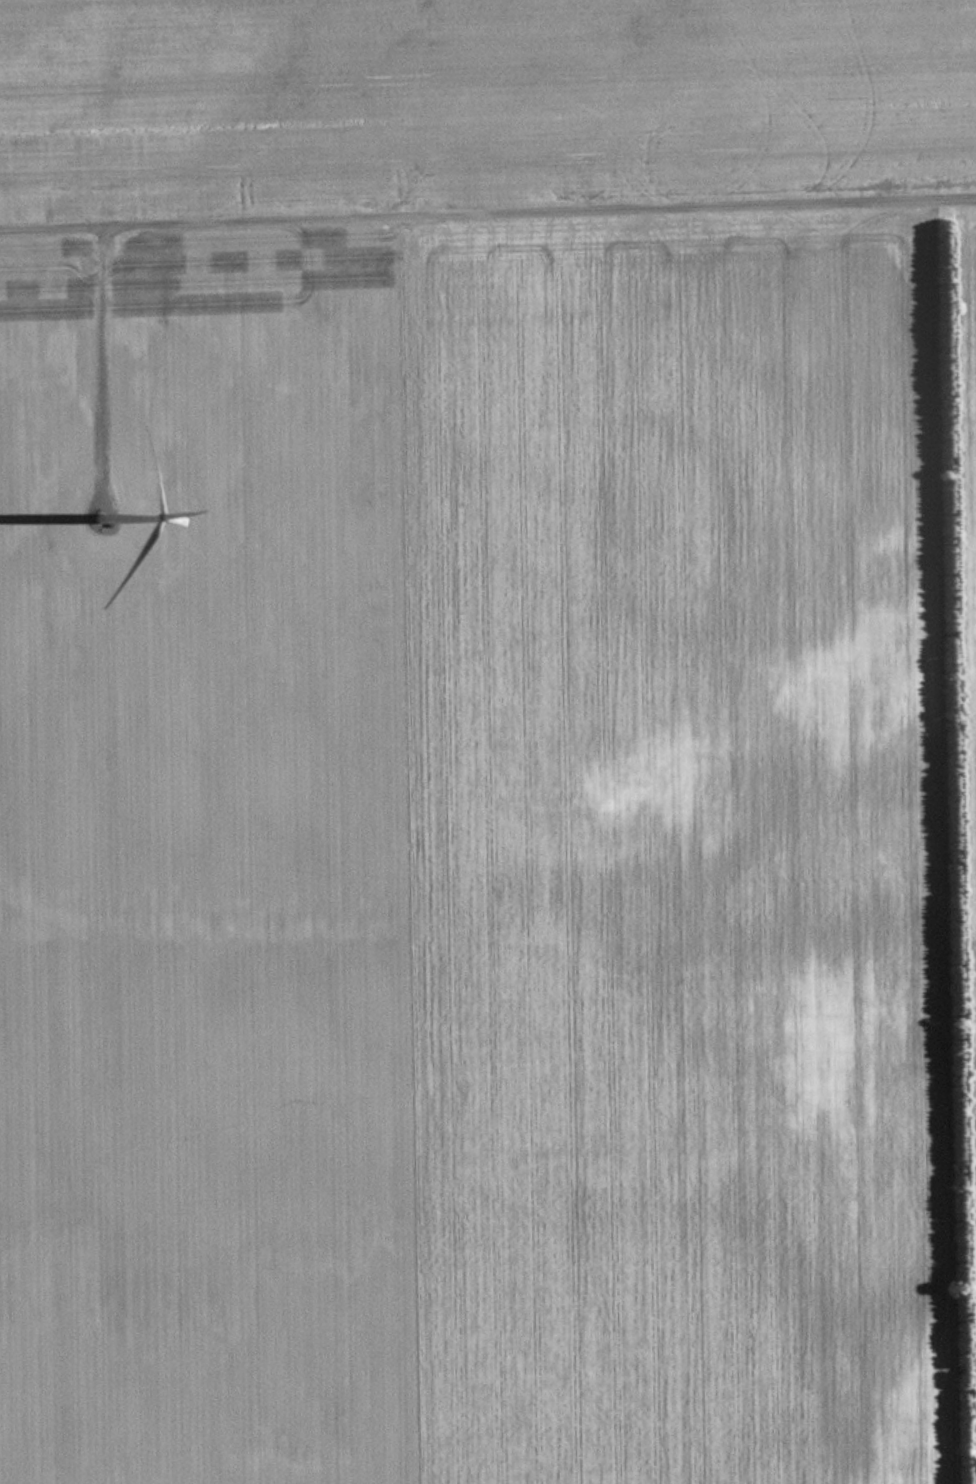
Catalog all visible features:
road: (487, 209)
road: (101, 329)
wind turbine: (105, 524)

